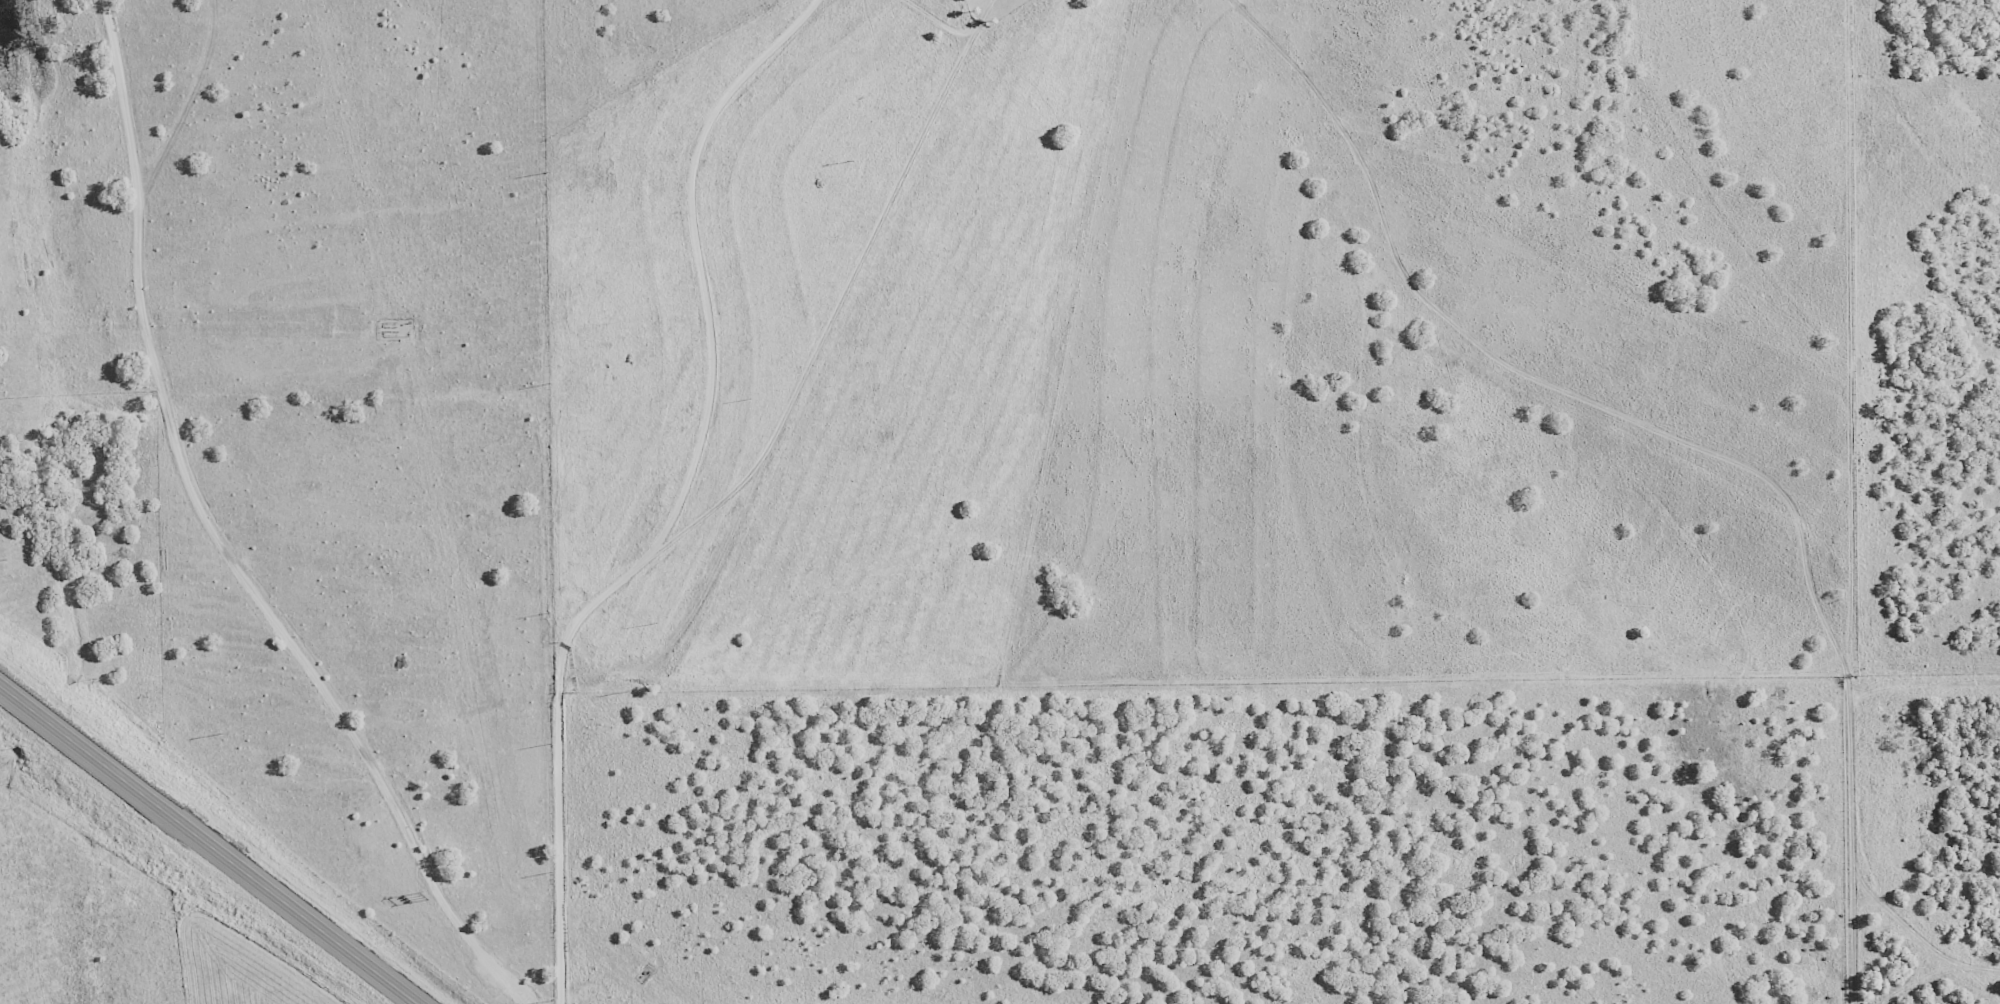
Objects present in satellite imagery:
road: (201, 851)

